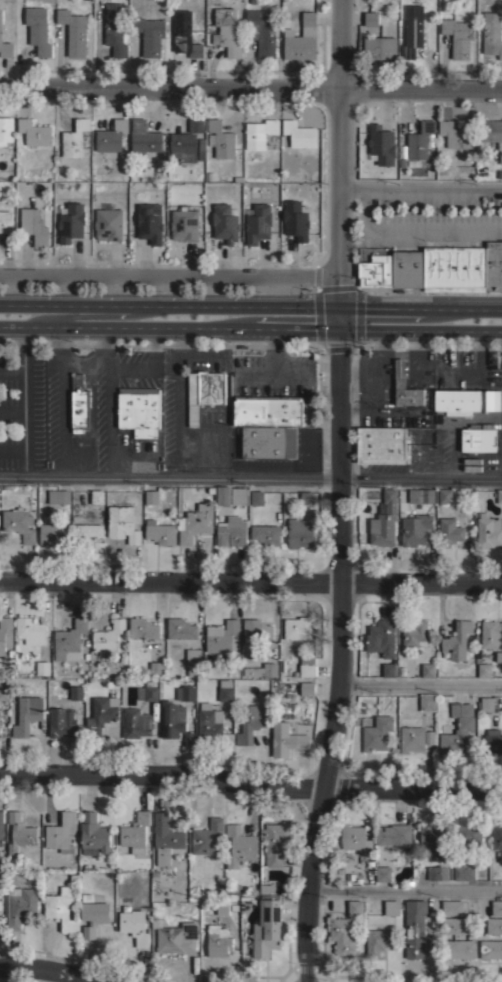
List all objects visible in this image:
building: (252, 1)
building: (283, 1)
building: (371, 18)
building: (115, 28)
building: (38, 29)
building: (227, 30)
building: (262, 30)
building: (413, 30)
building: (74, 31)
building: (492, 32)
building: (150, 34)
building: (186, 34)
building: (458, 36)
building: (302, 38)
building: (5, 42)
building: (380, 47)
road: (250, 86)
building: (196, 124)
building: (6, 129)
building: (34, 132)
building: (260, 132)
building: (492, 132)
building: (298, 134)
building: (456, 134)
building: (111, 136)
building: (144, 136)
building: (76, 137)
building: (220, 138)
building: (420, 140)
building: (381, 145)
building: (184, 146)
building: (201, 148)
road: (340, 153)
building: (208, 176)
building: (237, 178)
road: (420, 186)
building: (296, 219)
building: (6, 221)
building: (72, 222)
building: (109, 222)
building: (225, 222)
building: (149, 223)
building: (258, 223)
building: (185, 224)
building: (34, 225)
road: (410, 230)
building: (494, 265)
building: (377, 268)
building: (408, 268)
building: (455, 268)
road: (169, 269)
road: (168, 307)
traffic signals: (338, 307)
road: (381, 307)
road: (463, 307)
road: (109, 315)
road: (338, 317)
road: (126, 328)
road: (296, 328)
traffic signals: (338, 328)
road: (409, 328)
road: (491, 328)
road: (274, 350)
road: (81, 362)
road: (148, 362)
road: (449, 371)
road: (273, 372)
building: (400, 373)
building: (204, 391)
building: (467, 399)
road: (177, 402)
building: (79, 404)
building: (140, 409)
building: (269, 410)
road: (62, 419)
road: (111, 419)
building: (478, 438)
building: (269, 442)
building: (381, 445)
road: (251, 476)
building: (223, 495)
building: (421, 495)
building: (445, 495)
building: (59, 496)
building: (97, 496)
building: (237, 496)
building: (499, 496)
building: (152, 497)
building: (257, 497)
building: (307, 498)
building: (385, 521)
building: (195, 522)
building: (123, 523)
building: (19, 524)
building: (415, 528)
building: (232, 531)
building: (450, 531)
building: (489, 531)
building: (53, 532)
building: (161, 532)
building: (299, 532)
building: (87, 533)
building: (266, 534)
road: (251, 580)
building: (144, 628)
building: (297, 628)
building: (181, 629)
building: (31, 630)
building: (256, 630)
building: (5, 633)
building: (415, 634)
building: (491, 634)
building: (223, 637)
building: (382, 637)
building: (108, 638)
building: (70, 640)
building: (457, 640)
road: (338, 656)
building: (194, 661)
building: (307, 666)
building: (43, 667)
building: (158, 668)
building: (262, 670)
building: (389, 670)
building: (428, 670)
building: (484, 670)
road: (420, 686)
building: (307, 688)
building: (225, 690)
building: (148, 691)
building: (4, 692)
building: (76, 693)
building: (188, 693)
building: (427, 701)
building: (491, 703)
building: (27, 714)
building: (101, 715)
building: (62, 722)
building: (138, 723)
building: (171, 723)
building: (210, 723)
building: (249, 724)
building: (458, 728)
building: (377, 733)
building: (414, 738)
building: (286, 739)
building: (493, 741)
road: (250, 784)
building: (1, 828)
building: (136, 832)
building: (62, 833)
building: (94, 834)
building: (393, 834)
building: (19, 835)
building: (208, 836)
building: (165, 837)
building: (470, 837)
building: (497, 837)
building: (356, 839)
building: (430, 840)
building: (275, 841)
building: (240, 845)
building: (437, 872)
building: (464, 872)
building: (383, 873)
road: (405, 889)
building: (1, 900)
building: (21, 905)
building: (223, 907)
building: (356, 907)
building: (392, 907)
building: (453, 907)
building: (497, 907)
building: (62, 908)
building: (94, 916)
building: (265, 921)
building: (1, 922)
building: (455, 925)
building: (494, 925)
building: (135, 926)
building: (415, 928)
building: (176, 936)
building: (343, 937)
building: (379, 940)
building: (218, 941)
building: (459, 949)
building: (491, 949)
road: (44, 971)

